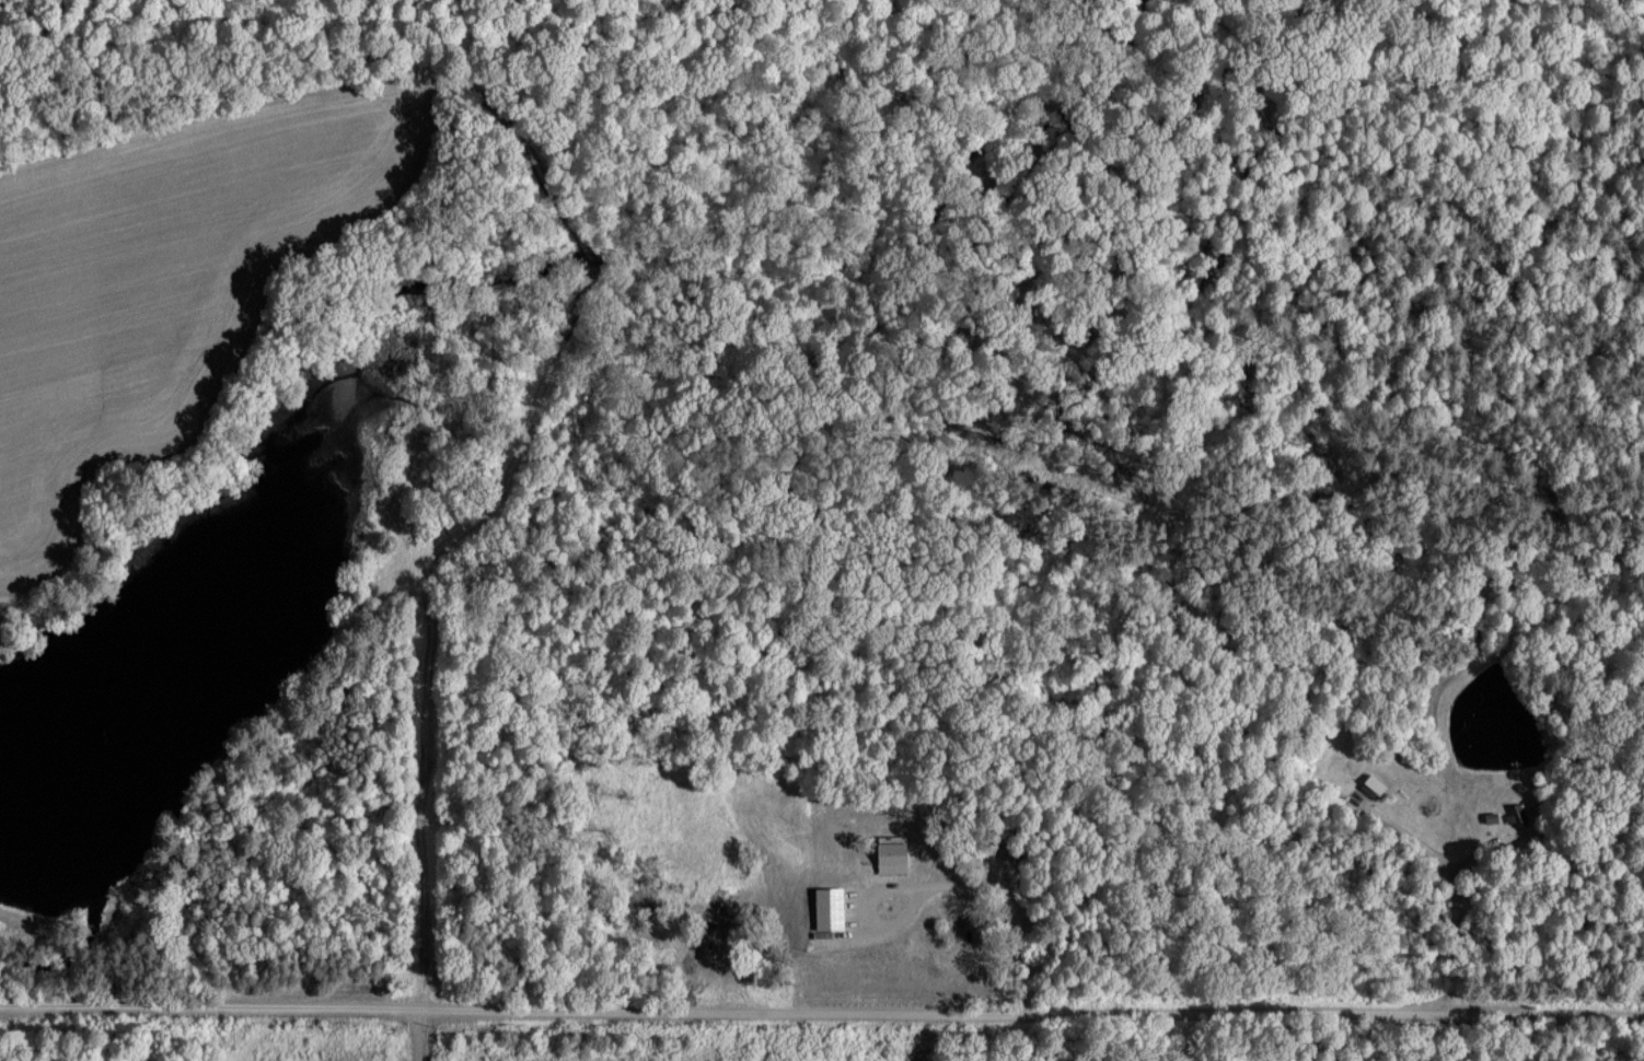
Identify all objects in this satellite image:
building: (891, 856)
road: (956, 885)
road: (1459, 902)
building: (827, 908)
dam: (11, 913)
road: (822, 1014)
road: (419, 1037)

